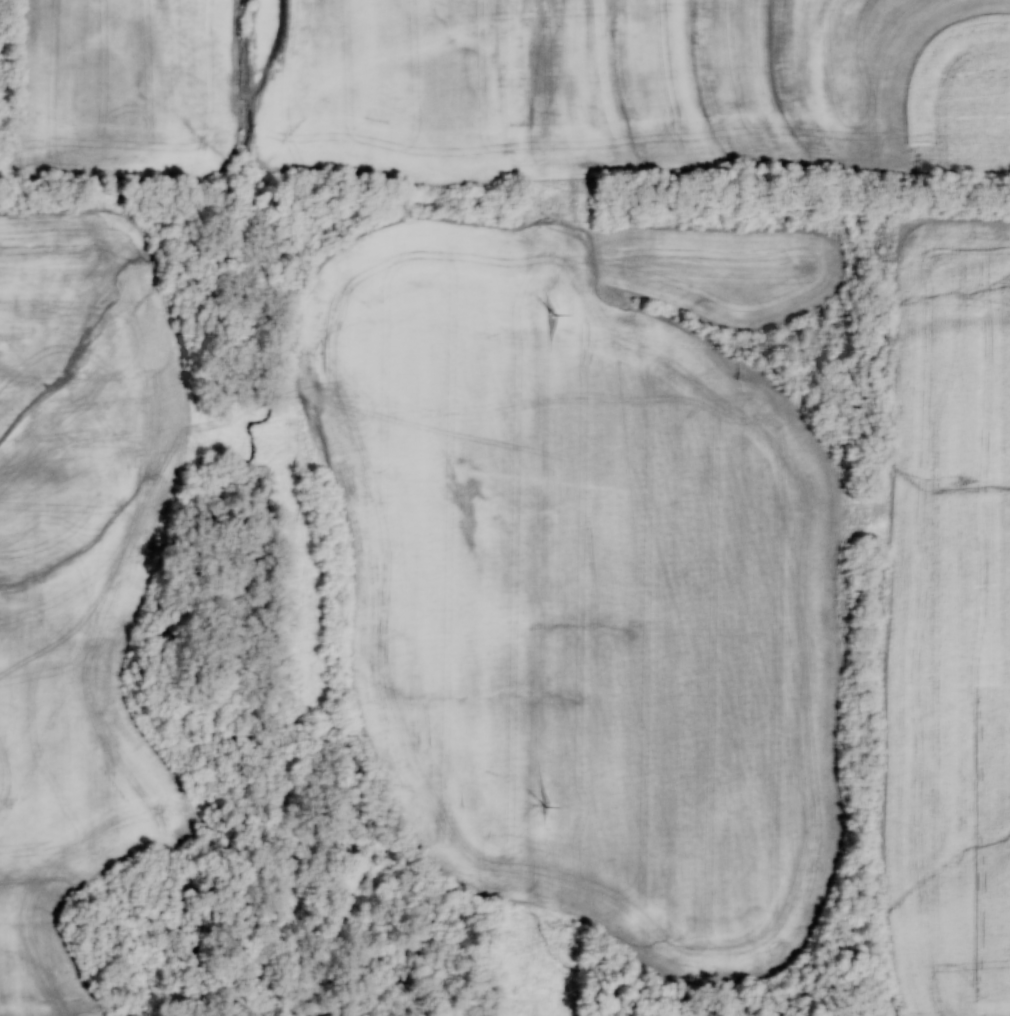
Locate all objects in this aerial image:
power tower: (553, 311)
power tower: (543, 827)

